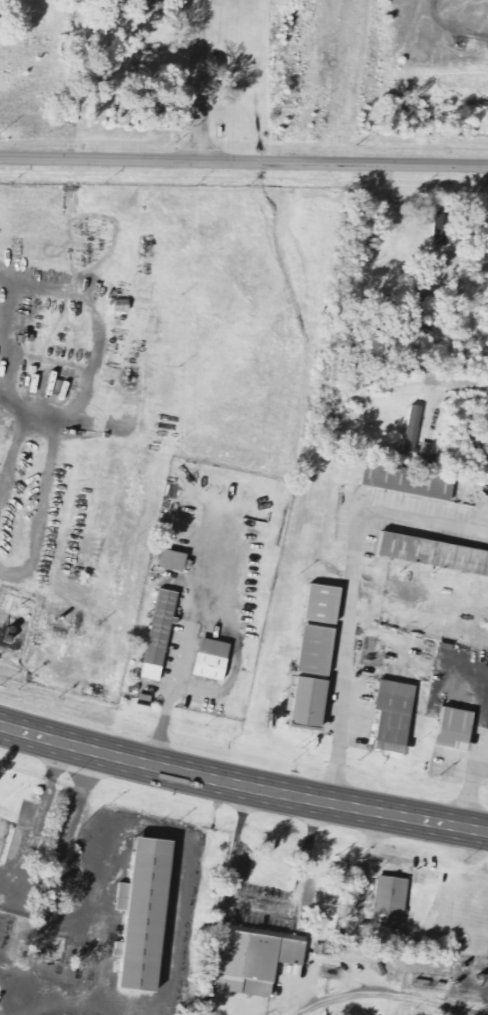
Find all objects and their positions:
road: (193, 5)
road: (198, 79)
power tower: (3, 142)
power tower: (262, 150)
road: (244, 161)
building: (443, 229)
road: (47, 288)
road: (13, 352)
road: (92, 370)
road: (459, 382)
road: (15, 402)
road: (40, 414)
building: (414, 429)
road: (13, 454)
building: (409, 479)
road: (43, 508)
building: (433, 553)
building: (174, 560)
road: (349, 596)
building: (325, 604)
building: (160, 635)
building: (212, 659)
road: (178, 660)
road: (236, 665)
building: (315, 677)
building: (393, 713)
building: (453, 729)
road: (242, 785)
building: (4, 835)
road: (238, 838)
road: (30, 848)
road: (187, 865)
road: (56, 883)
building: (265, 883)
building: (126, 897)
building: (150, 901)
building: (391, 902)
building: (122, 950)
building: (262, 965)
road: (16, 973)
road: (94, 997)

